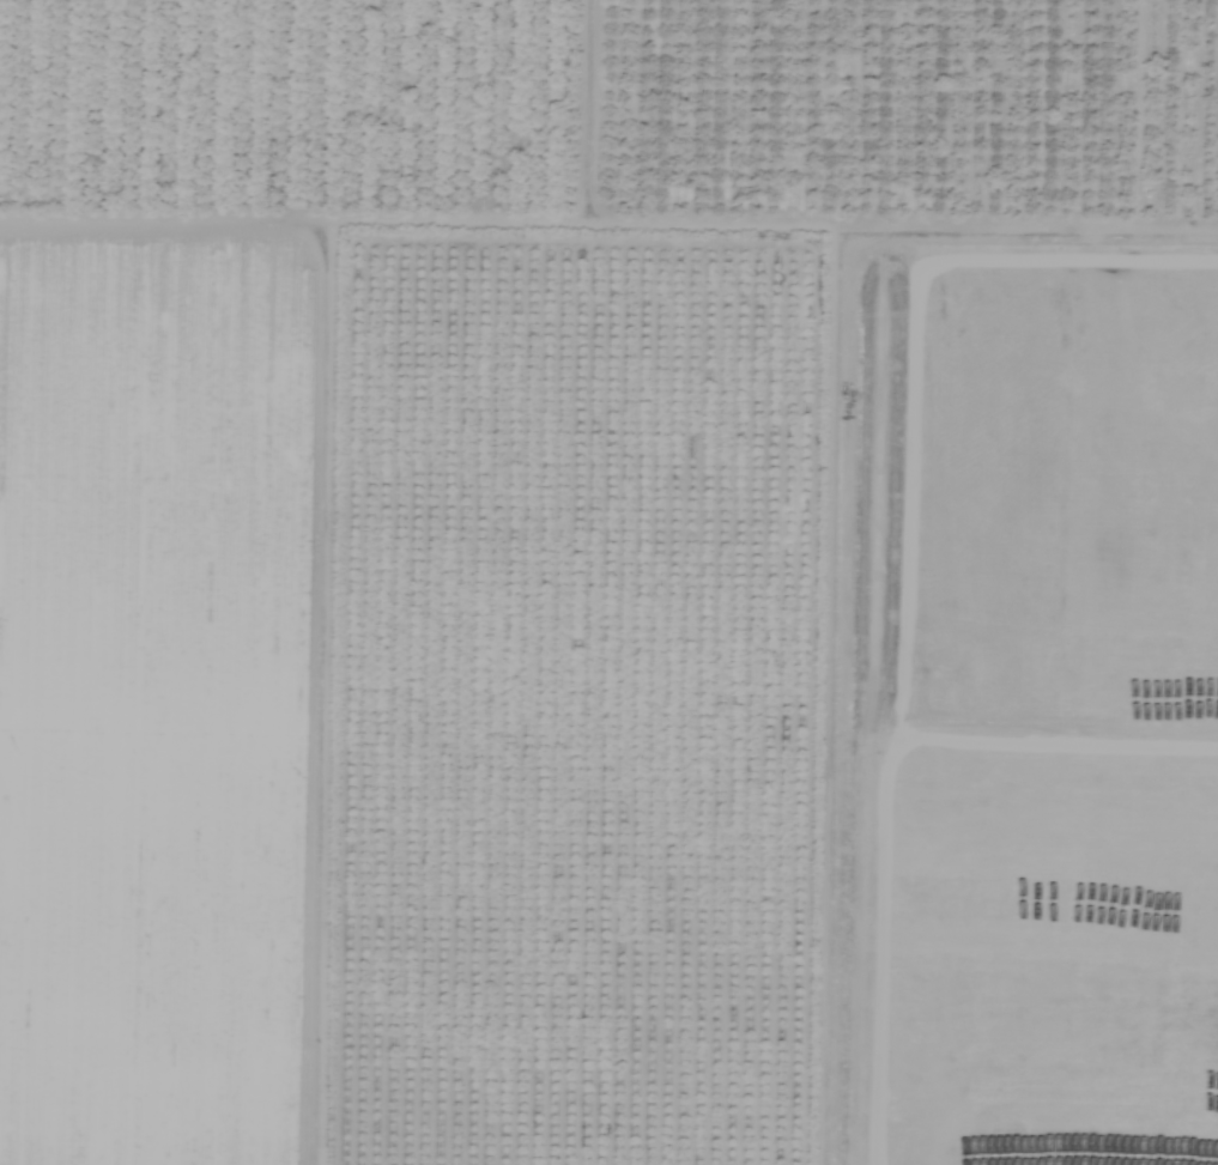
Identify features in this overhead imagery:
crop: (608, 582)

